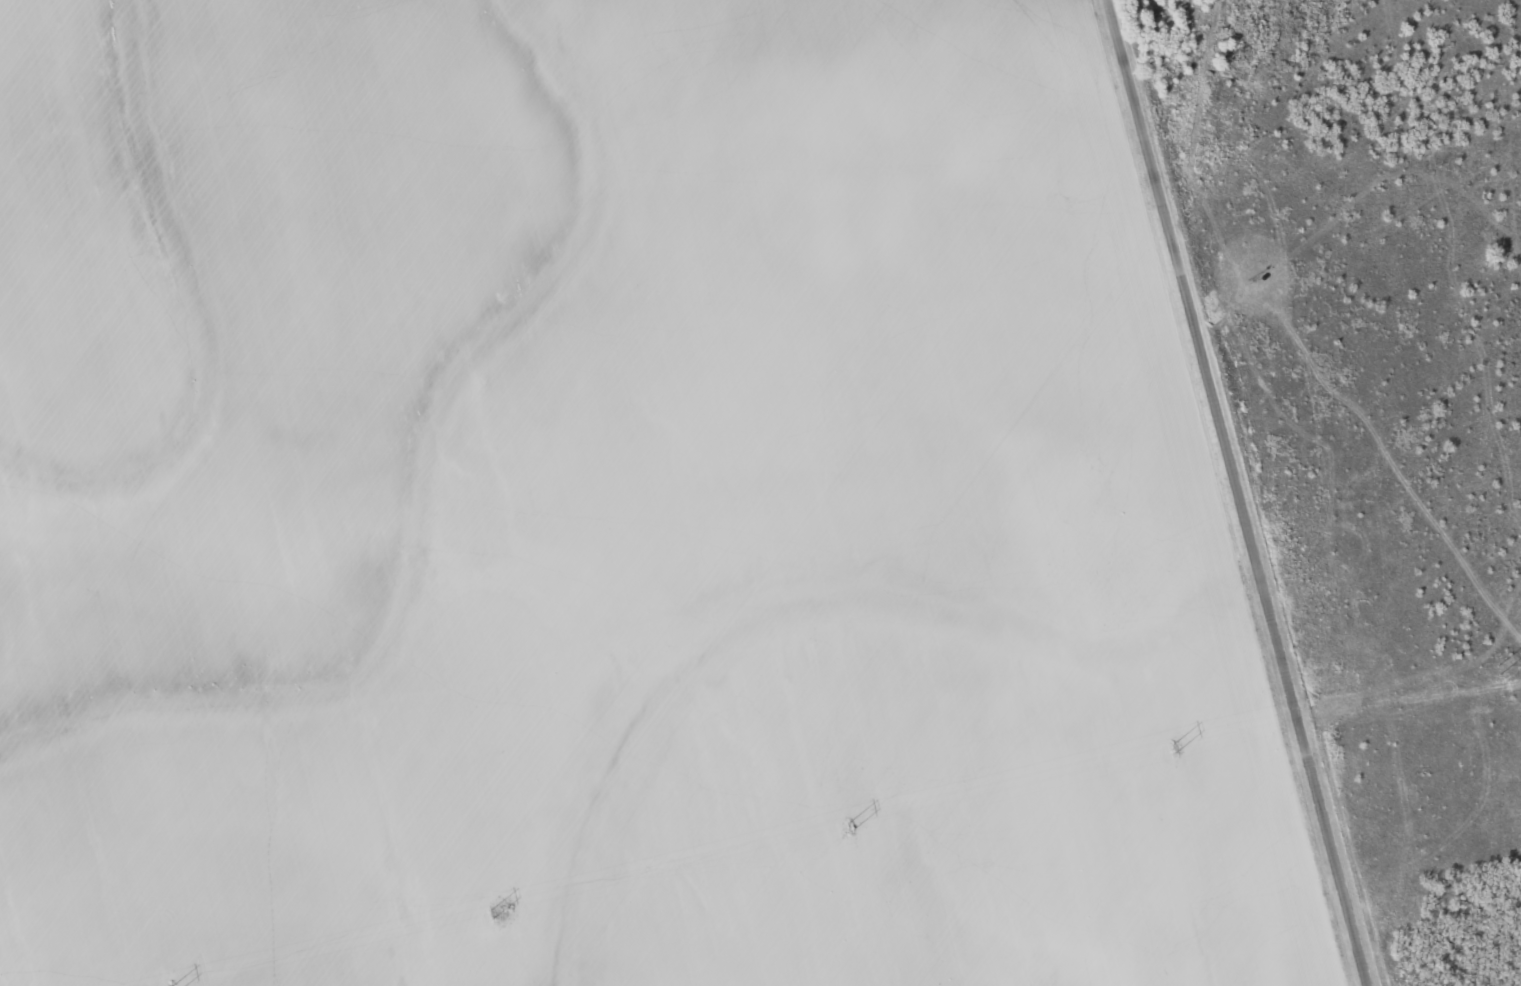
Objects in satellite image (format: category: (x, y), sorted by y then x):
road: (1238, 493)
power tower: (1495, 669)
power tower: (1177, 747)
power tower: (852, 824)
power tower: (505, 911)

